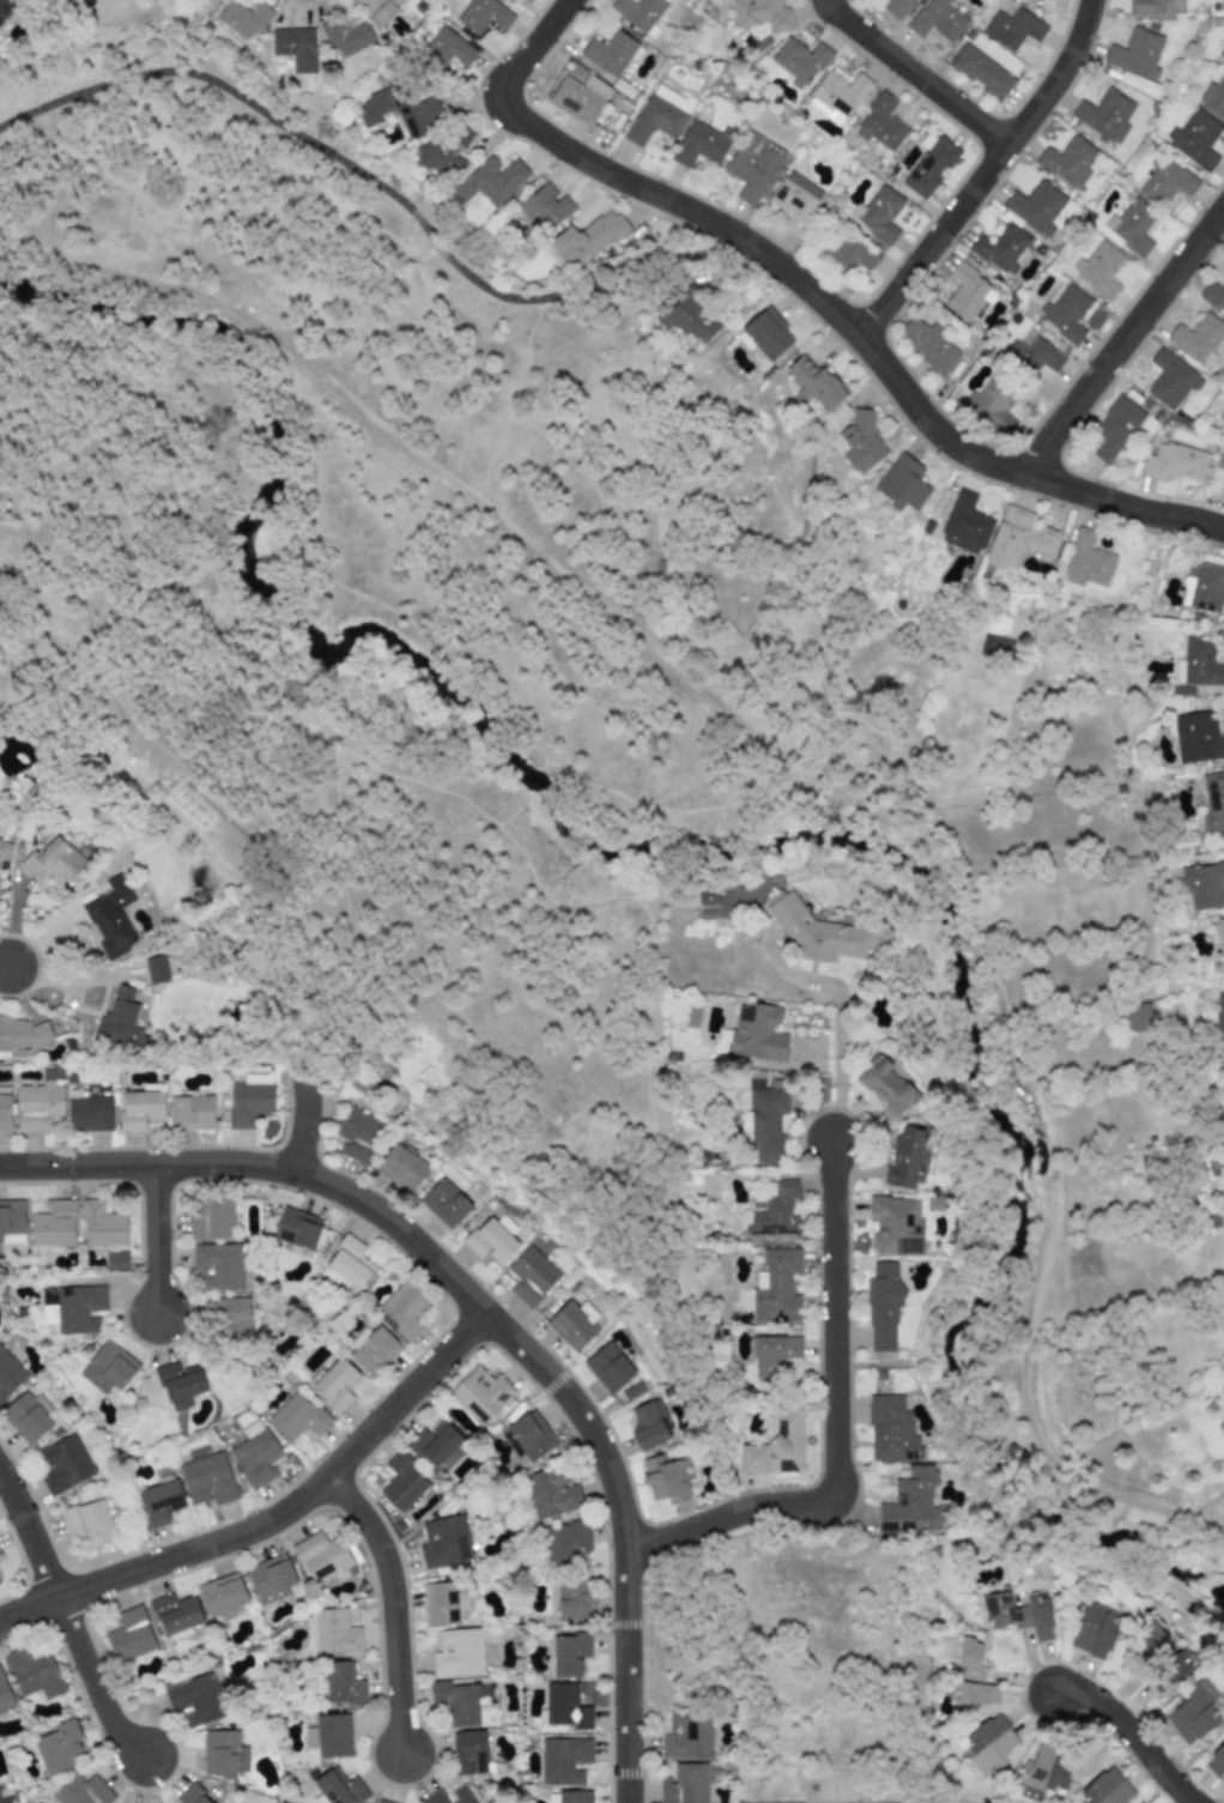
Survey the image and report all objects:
building: (210, 2)
building: (1155, 6)
building: (1222, 6)
building: (5, 7)
building: (896, 7)
building: (380, 8)
building: (638, 12)
building: (479, 14)
building: (761, 14)
building: (244, 19)
building: (938, 19)
building: (1013, 28)
building: (345, 36)
building: (296, 47)
building: (447, 48)
building: (610, 52)
building: (1222, 52)
road: (527, 53)
building: (1135, 53)
building: (799, 60)
building: (982, 72)
road: (916, 74)
building: (837, 95)
building: (580, 97)
building: (1213, 97)
building: (402, 110)
building: (1104, 114)
building: (659, 115)
building: (880, 123)
building: (1195, 138)
building: (699, 145)
building: (440, 159)
building: (1067, 161)
building: (929, 164)
building: (752, 165)
road: (986, 173)
road: (376, 183)
building: (491, 183)
building: (1167, 183)
building: (795, 200)
building: (1035, 206)
building: (545, 207)
building: (879, 212)
building: (1132, 226)
building: (587, 238)
building: (1000, 248)
building: (847, 252)
building: (1098, 268)
building: (967, 292)
building: (1212, 296)
building: (1065, 313)
building: (685, 317)
building: (766, 333)
building: (1199, 337)
road: (865, 338)
road: (1129, 338)
building: (929, 344)
building: (1032, 355)
building: (1170, 379)
building: (813, 382)
building: (992, 403)
building: (1115, 428)
building: (859, 442)
building: (1174, 461)
building: (902, 483)
building: (1220, 486)
building: (965, 524)
building: (1018, 538)
building: (1086, 561)
road: (556, 565)
building: (1202, 587)
building: (1200, 662)
building: (1198, 737)
building: (1213, 801)
road: (643, 804)
building: (54, 861)
building: (1202, 884)
building: (708, 896)
building: (110, 918)
building: (825, 932)
building: (1220, 942)
road: (6, 962)
building: (154, 969)
building: (1219, 1011)
road: (838, 1015)
building: (692, 1017)
building: (1137, 1017)
building: (120, 1022)
building: (756, 1034)
building: (20, 1035)
building: (884, 1084)
road: (650, 1089)
building: (249, 1100)
building: (38, 1106)
building: (5, 1107)
building: (140, 1108)
building: (89, 1113)
building: (190, 1113)
road: (309, 1119)
building: (765, 1123)
building: (356, 1133)
building: (907, 1160)
building: (401, 1167)
building: (444, 1203)
building: (775, 1211)
building: (210, 1218)
building: (11, 1221)
building: (102, 1224)
building: (895, 1224)
building: (51, 1226)
building: (297, 1228)
road: (159, 1240)
building: (491, 1241)
building: (115, 1260)
building: (350, 1263)
building: (217, 1266)
building: (776, 1287)
building: (883, 1305)
building: (72, 1308)
building: (401, 1309)
road: (485, 1314)
building: (235, 1317)
road: (667, 1317)
building: (572, 1324)
building: (372, 1350)
building: (772, 1354)
building: (608, 1367)
building: (108, 1368)
building: (8, 1374)
building: (180, 1384)
building: (333, 1384)
building: (631, 1390)
building: (480, 1393)
building: (297, 1416)
building: (25, 1417)
building: (649, 1424)
road: (838, 1428)
building: (890, 1429)
building: (531, 1435)
building: (510, 1444)
building: (437, 1445)
building: (776, 1446)
building: (196, 1452)
building: (255, 1454)
building: (62, 1464)
building: (207, 1480)
building: (665, 1480)
building: (402, 1482)
building: (550, 1493)
road: (1129, 1499)
building: (159, 1502)
building: (911, 1502)
road: (275, 1520)
building: (86, 1523)
road: (31, 1532)
building: (443, 1542)
building: (564, 1542)
building: (0, 1555)
building: (322, 1556)
building: (269, 1579)
building: (222, 1595)
building: (572, 1599)
building: (441, 1603)
road: (398, 1608)
building: (1004, 1611)
building: (175, 1613)
building: (1040, 1617)
building: (1093, 1629)
building: (335, 1632)
building: (129, 1635)
building: (1155, 1636)
building: (458, 1653)
building: (568, 1654)
building: (1171, 1670)
building: (968, 1671)
building: (32, 1672)
road: (99, 1683)
building: (341, 1683)
building: (5, 1695)
building: (195, 1700)
building: (456, 1702)
building: (564, 1706)
building: (1193, 1714)
building: (686, 1735)
road: (1134, 1735)
building: (329, 1736)
building: (988, 1743)
building: (468, 1751)
building: (223, 1754)
building: (563, 1760)
building: (1217, 1763)
building: (1043, 1773)
building: (684, 1784)
building: (339, 1787)
building: (1105, 1789)
building: (80, 1791)
building: (190, 1795)
building: (449, 1796)
building: (574, 1796)
building: (552, 1798)
building: (382, 1801)

